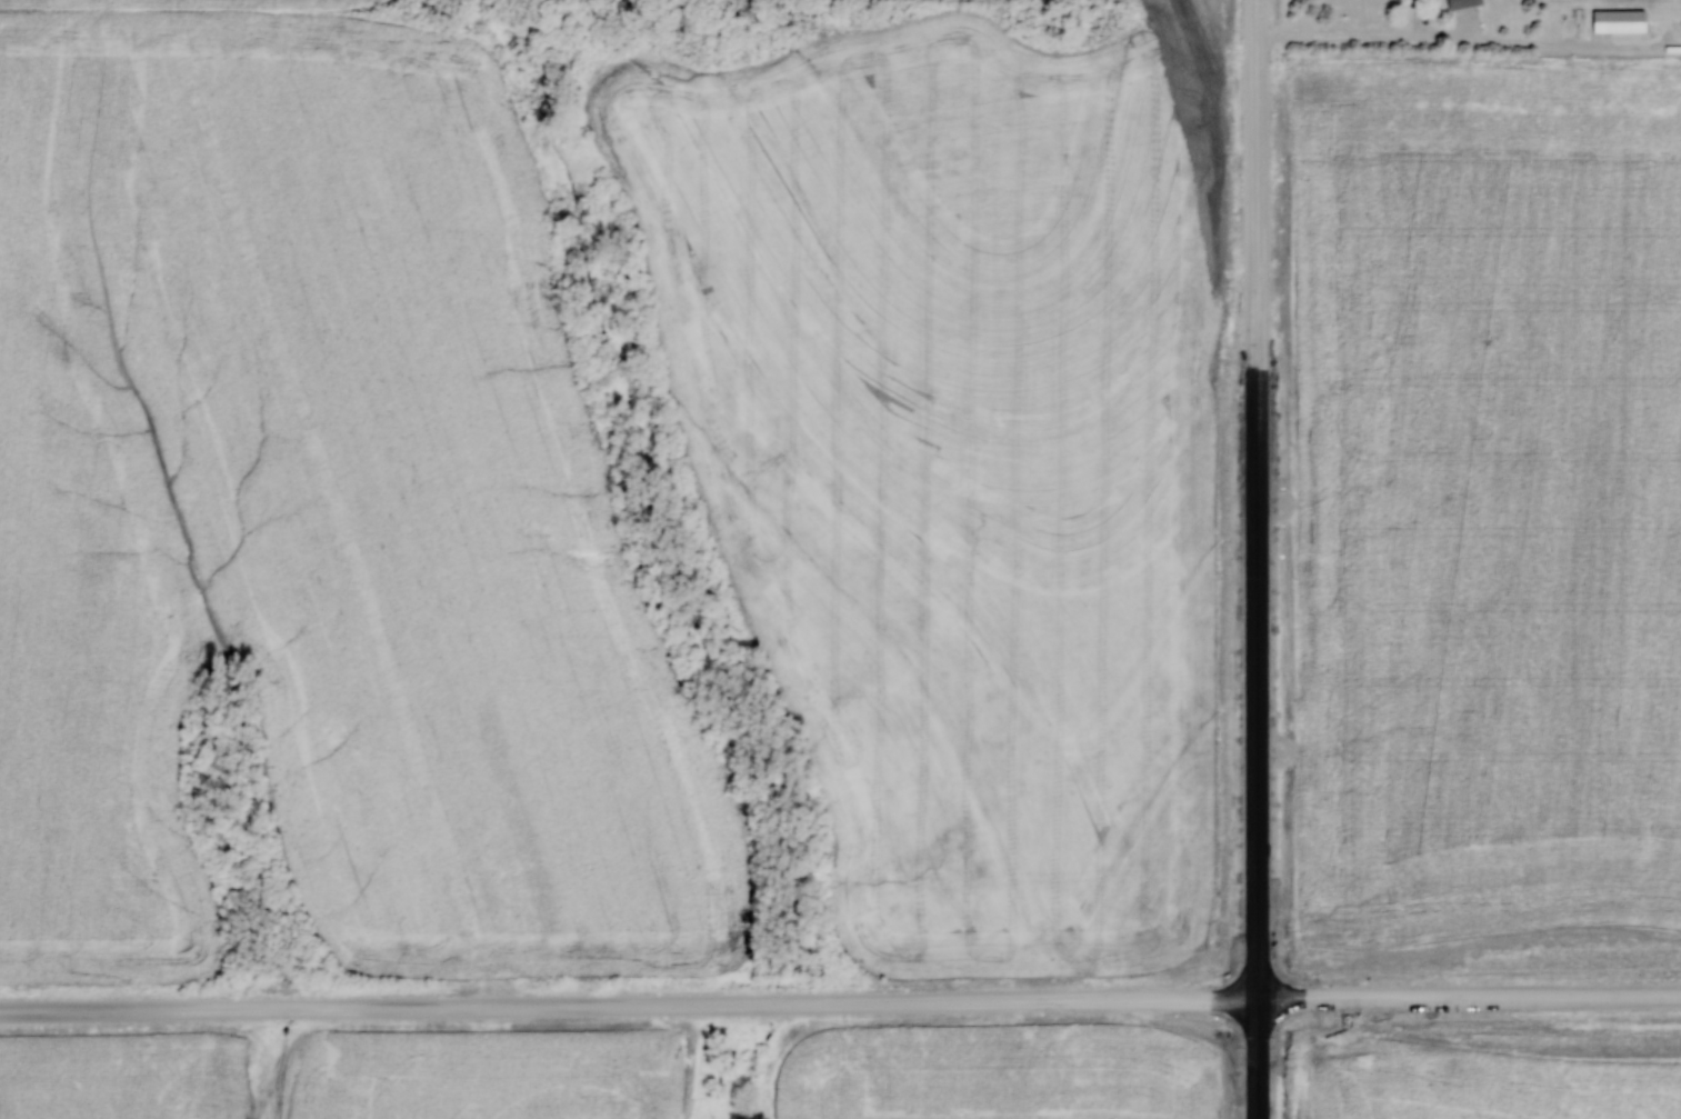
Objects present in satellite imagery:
building: (1463, 2)
crop: (143, 3)
road: (1252, 10)
building: (1619, 20)
road: (1360, 33)
road: (1257, 494)
crop: (1479, 520)
road: (1469, 997)
road: (629, 1005)
road: (1258, 1058)
crop: (997, 1073)
crop: (127, 1076)
crop: (482, 1076)

